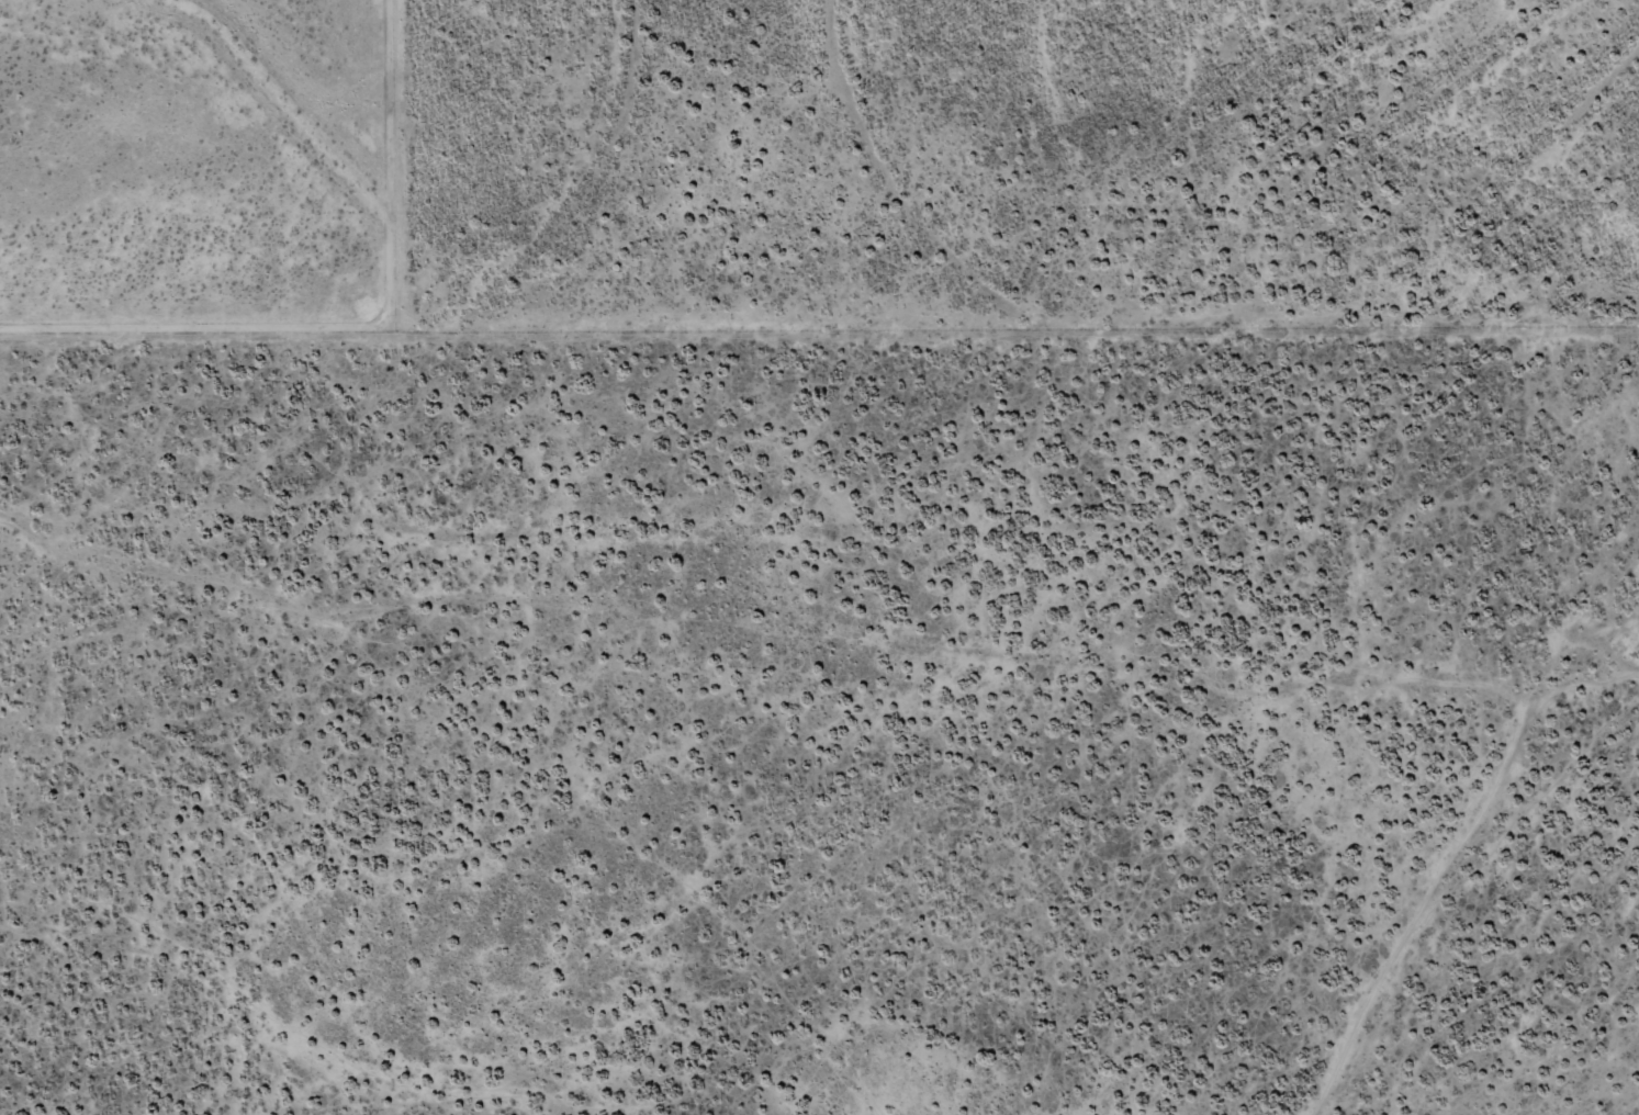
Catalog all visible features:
road: (1461, 874)

